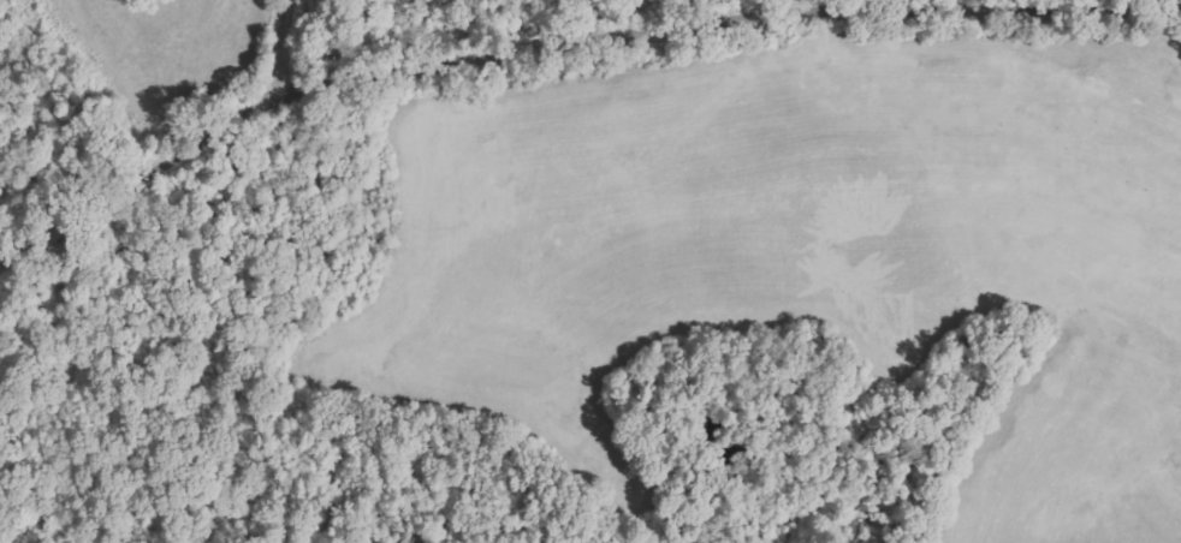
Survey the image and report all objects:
road: (560, 25)

